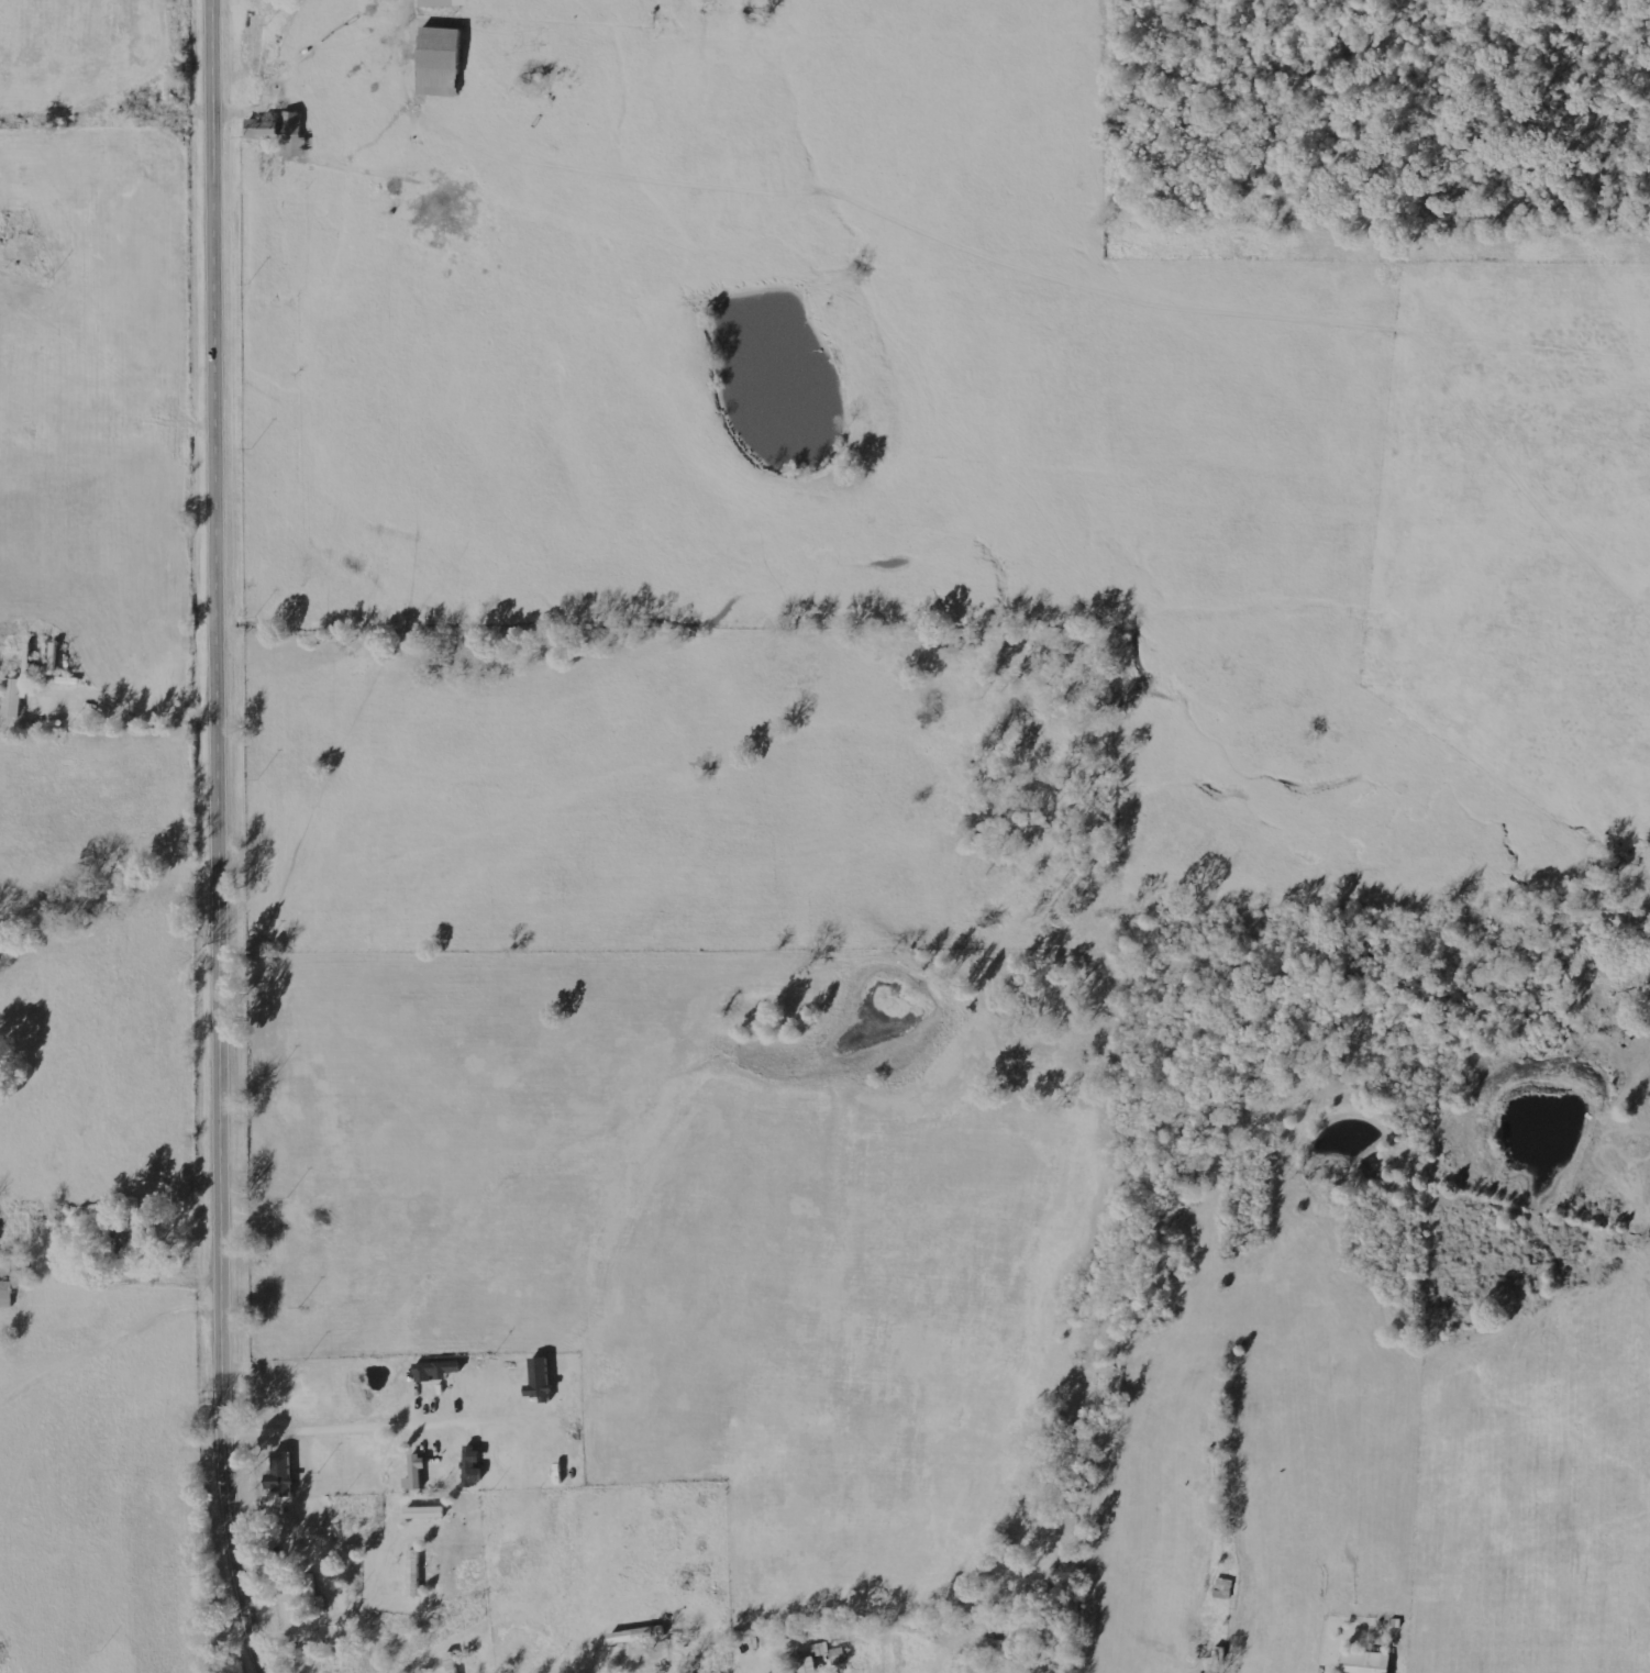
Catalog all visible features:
building: (446, 3)
building: (443, 62)
building: (280, 126)
building: (298, 146)
building: (15, 697)
road: (221, 838)
road: (113, 1183)
building: (0, 1228)
building: (13, 1285)
building: (543, 1380)
road: (383, 1427)
building: (285, 1472)
building: (419, 1473)
building: (428, 1513)
building: (822, 1649)
building: (840, 1655)
building: (1369, 1662)
building: (810, 1665)

